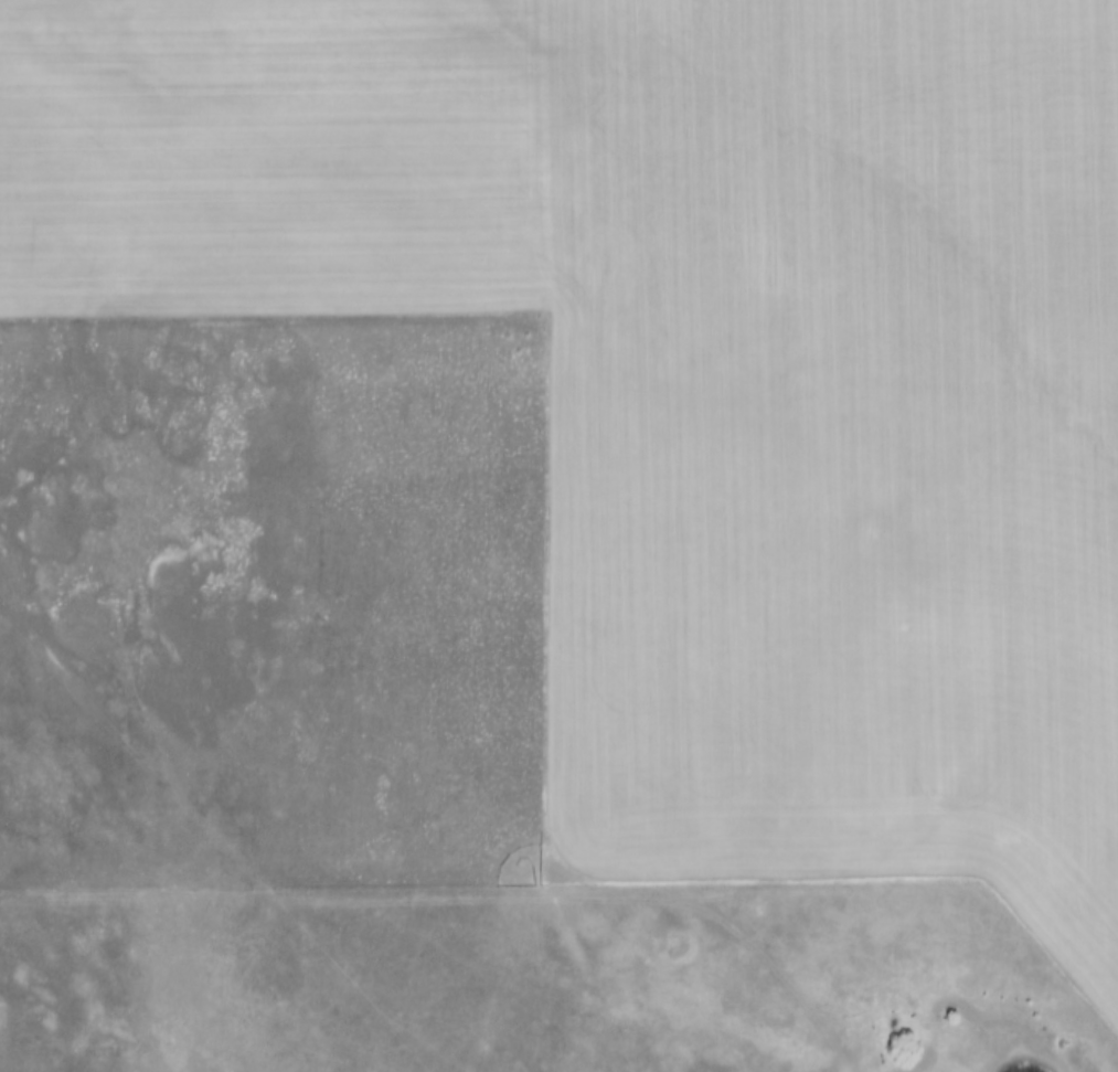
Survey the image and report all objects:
road: (722, 917)

